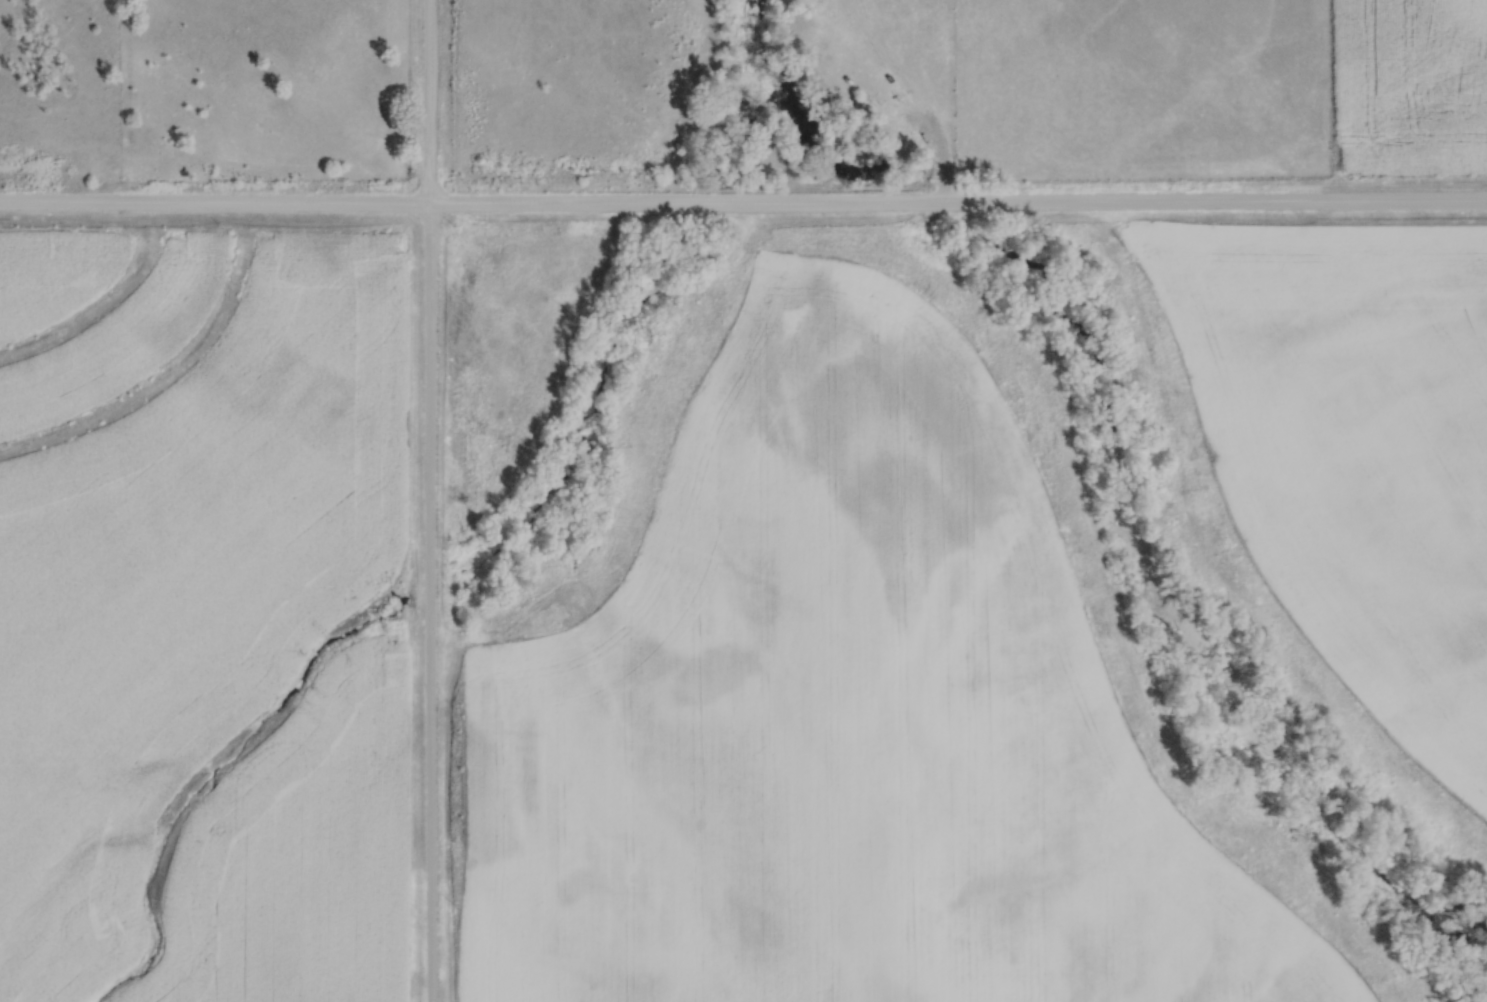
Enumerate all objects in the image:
road: (743, 207)
road: (427, 500)

